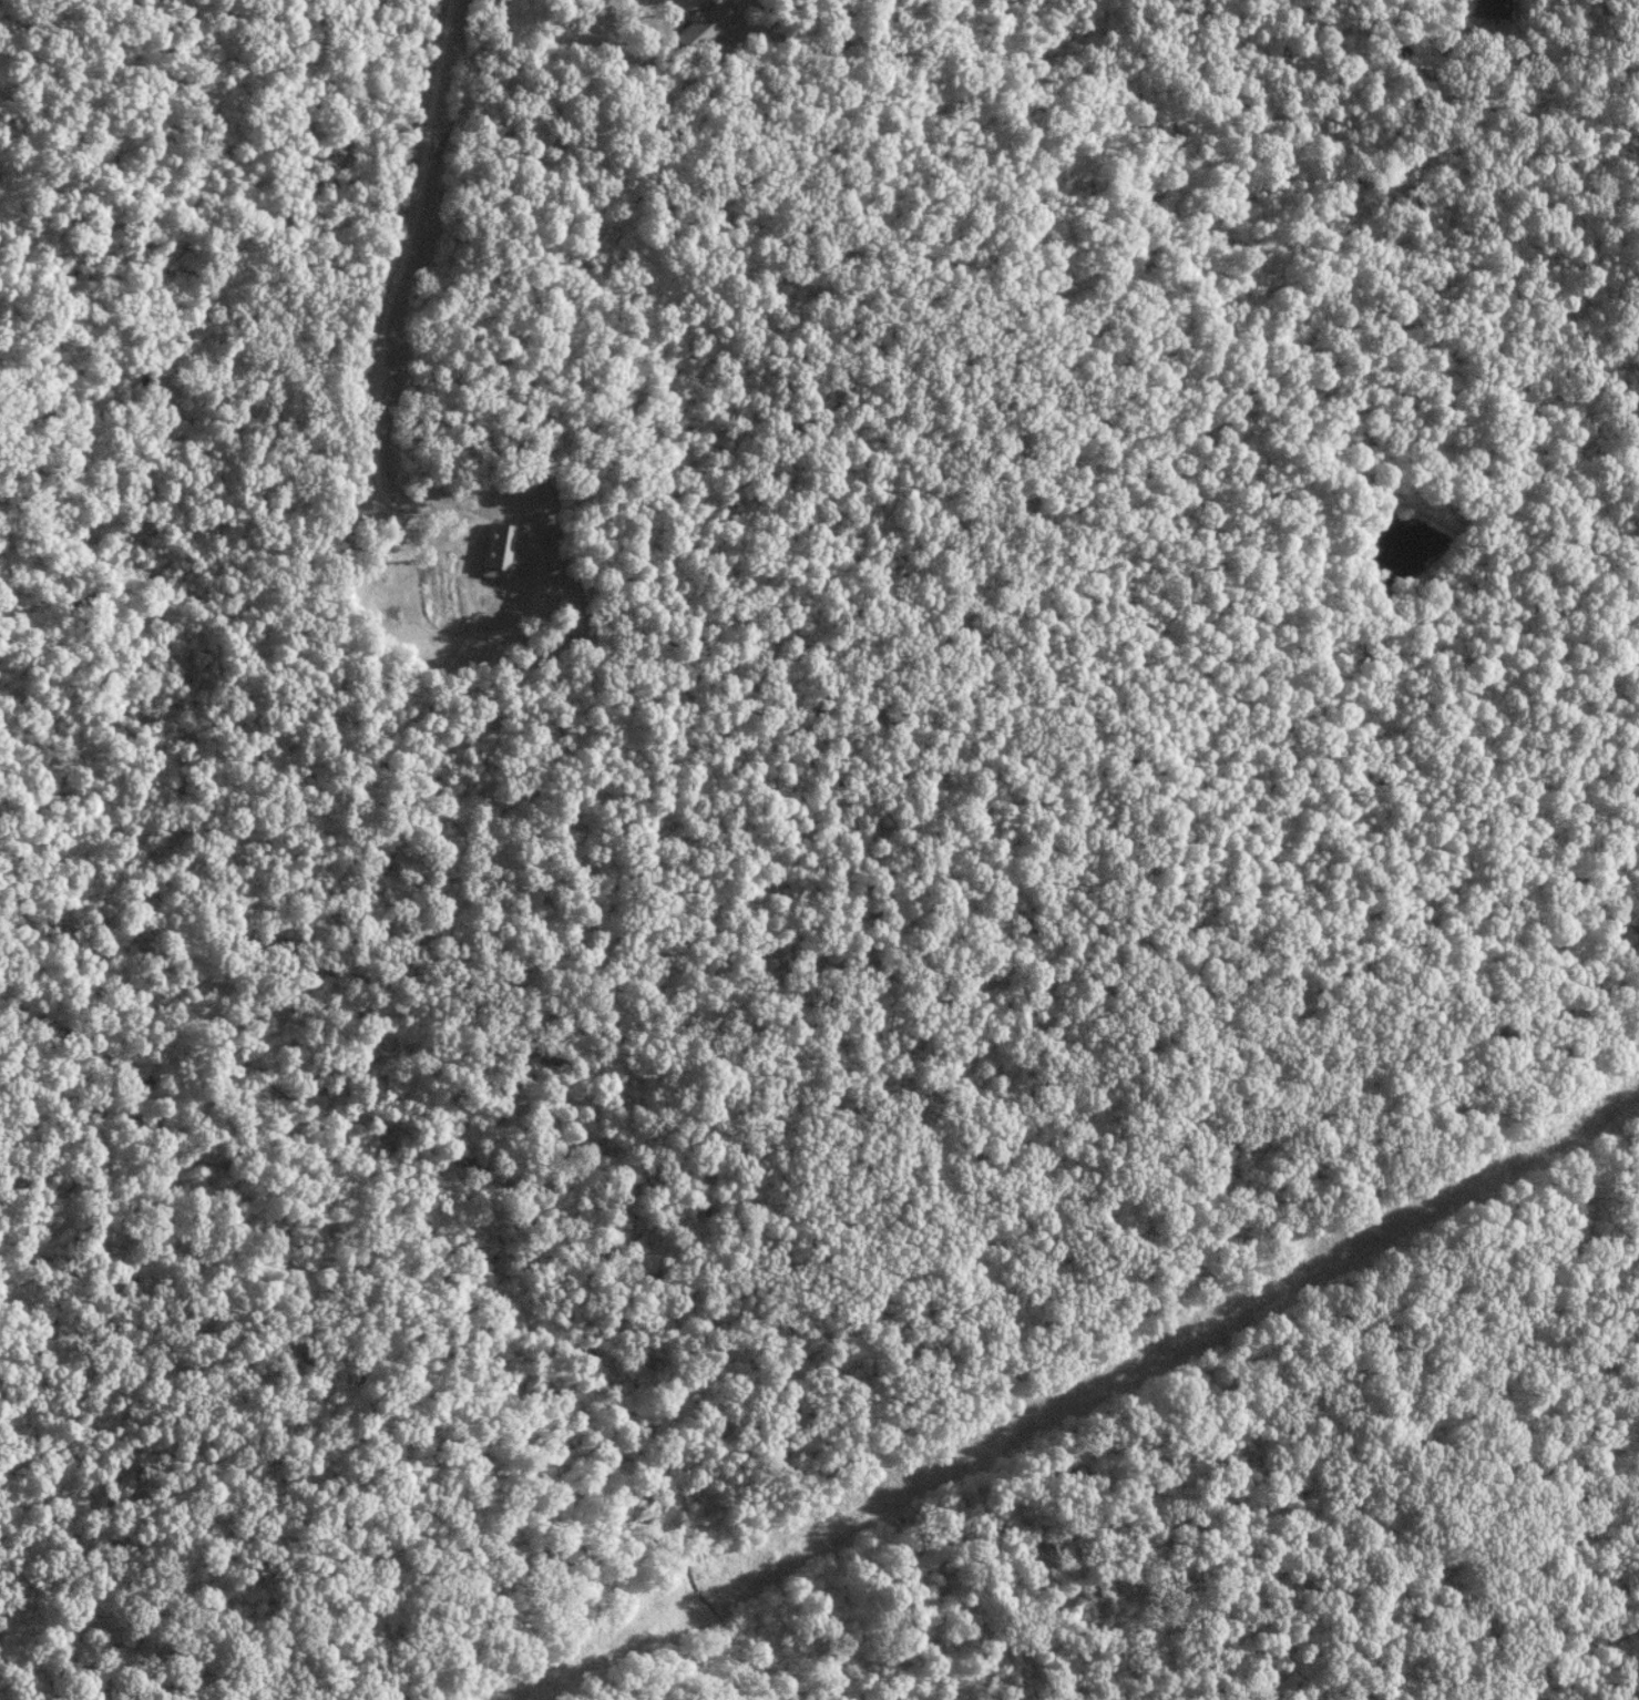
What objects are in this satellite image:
road: (658, 8)
building: (700, 24)
road: (386, 309)

